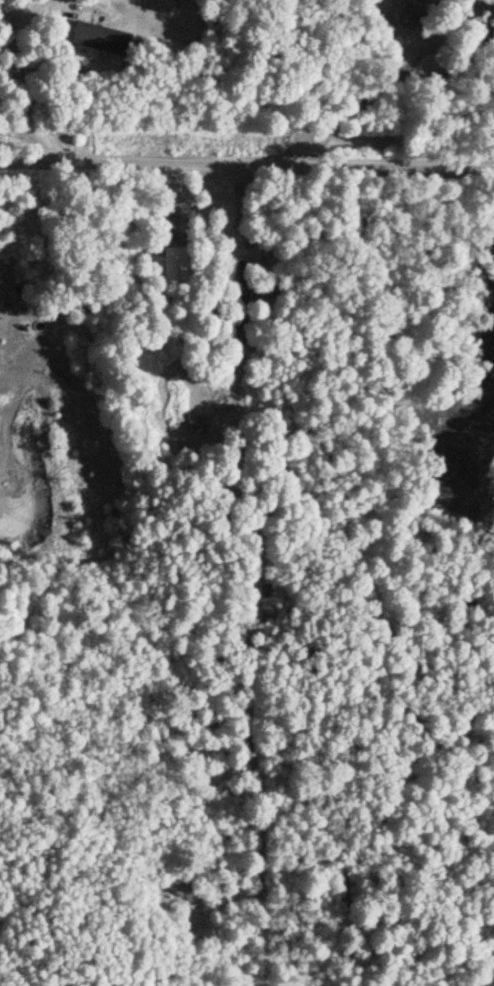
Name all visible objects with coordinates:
road: (41, 11)
building: (411, 12)
building: (101, 37)
road: (44, 57)
road: (23, 98)
road: (364, 104)
road: (246, 160)
road: (175, 201)
road: (241, 207)
building: (174, 263)
building: (243, 279)
road: (14, 403)

